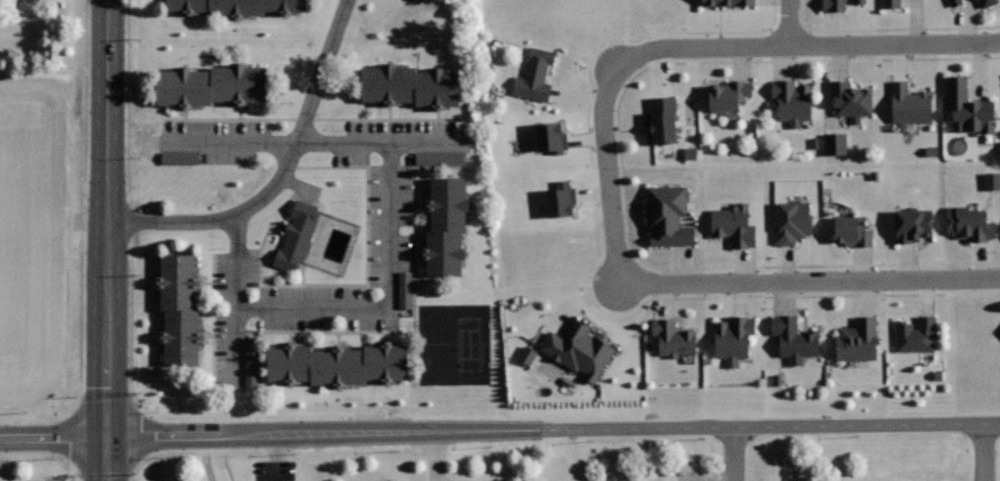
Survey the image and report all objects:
building: (860, 1)
building: (955, 1)
building: (729, 2)
building: (988, 2)
building: (891, 3)
building: (833, 5)
building: (234, 8)
road: (789, 23)
road: (889, 29)
road: (696, 47)
building: (535, 74)
building: (211, 86)
building: (409, 86)
building: (728, 93)
building: (851, 98)
building: (793, 100)
building: (910, 103)
building: (967, 107)
building: (662, 119)
building: (545, 138)
parking lot: (214, 141)
road: (232, 142)
building: (832, 144)
building: (438, 156)
building: (176, 158)
road: (620, 163)
road: (280, 177)
building: (989, 181)
road: (130, 196)
building: (554, 200)
building: (669, 216)
road: (107, 218)
building: (793, 221)
building: (969, 223)
building: (735, 224)
building: (445, 225)
building: (913, 225)
building: (852, 231)
building: (295, 234)
road: (389, 255)
parking lot: (235, 258)
road: (584, 277)
road: (809, 279)
building: (405, 290)
road: (236, 301)
building: (177, 309)
building: (916, 334)
building: (733, 337)
building: (673, 338)
building: (794, 338)
building: (858, 340)
park: (453, 344)
building: (579, 349)
building: (524, 356)
building: (253, 361)
building: (335, 364)
road: (500, 431)
traffic signals: (107, 438)
road: (107, 459)

